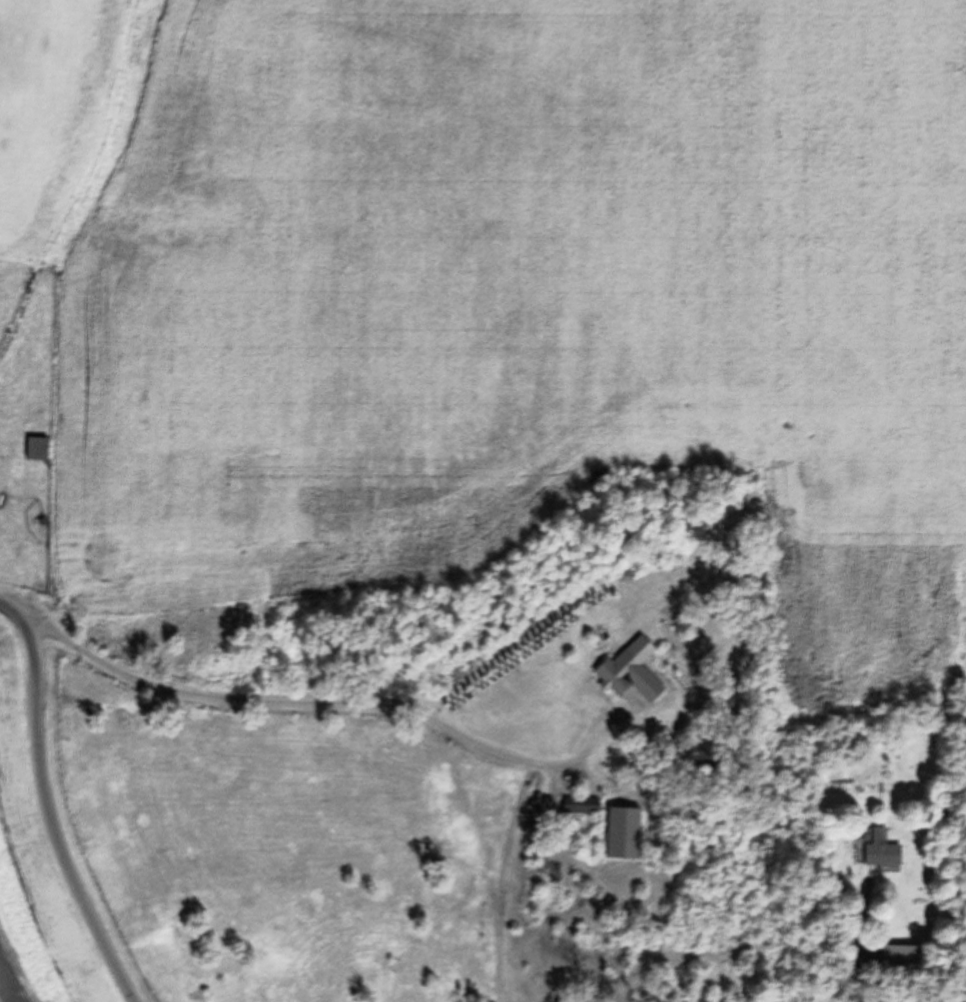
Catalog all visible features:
building: (35, 448)
building: (628, 670)
road: (302, 705)
road: (44, 802)
building: (579, 806)
building: (879, 850)

